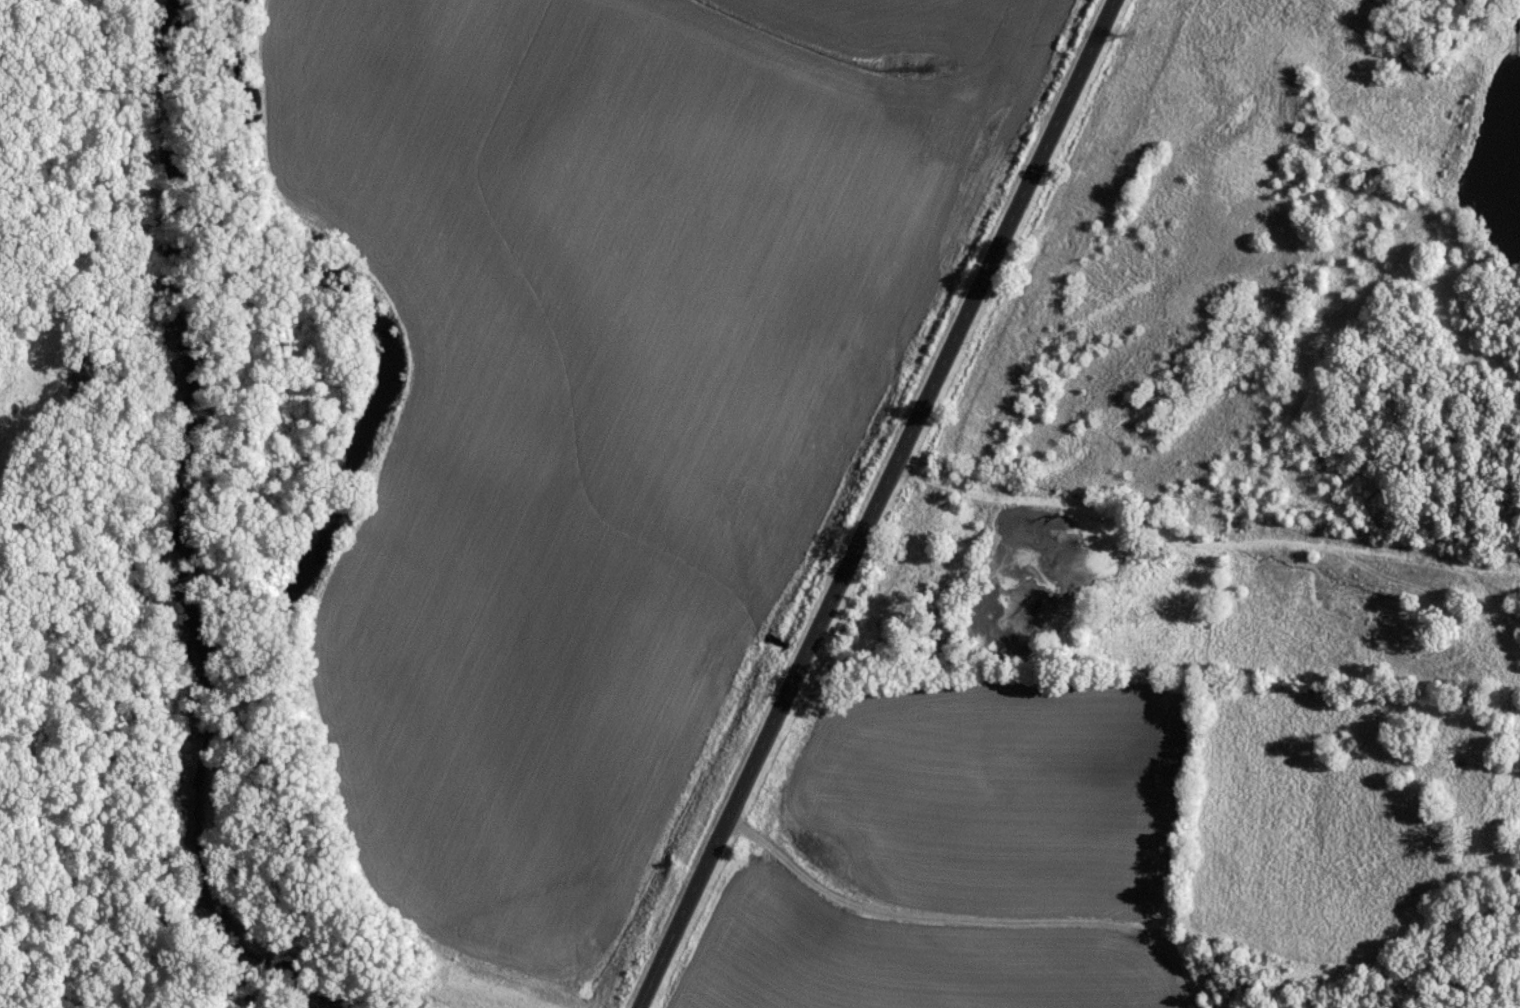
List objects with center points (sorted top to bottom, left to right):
road: (868, 508)
road: (1255, 545)

